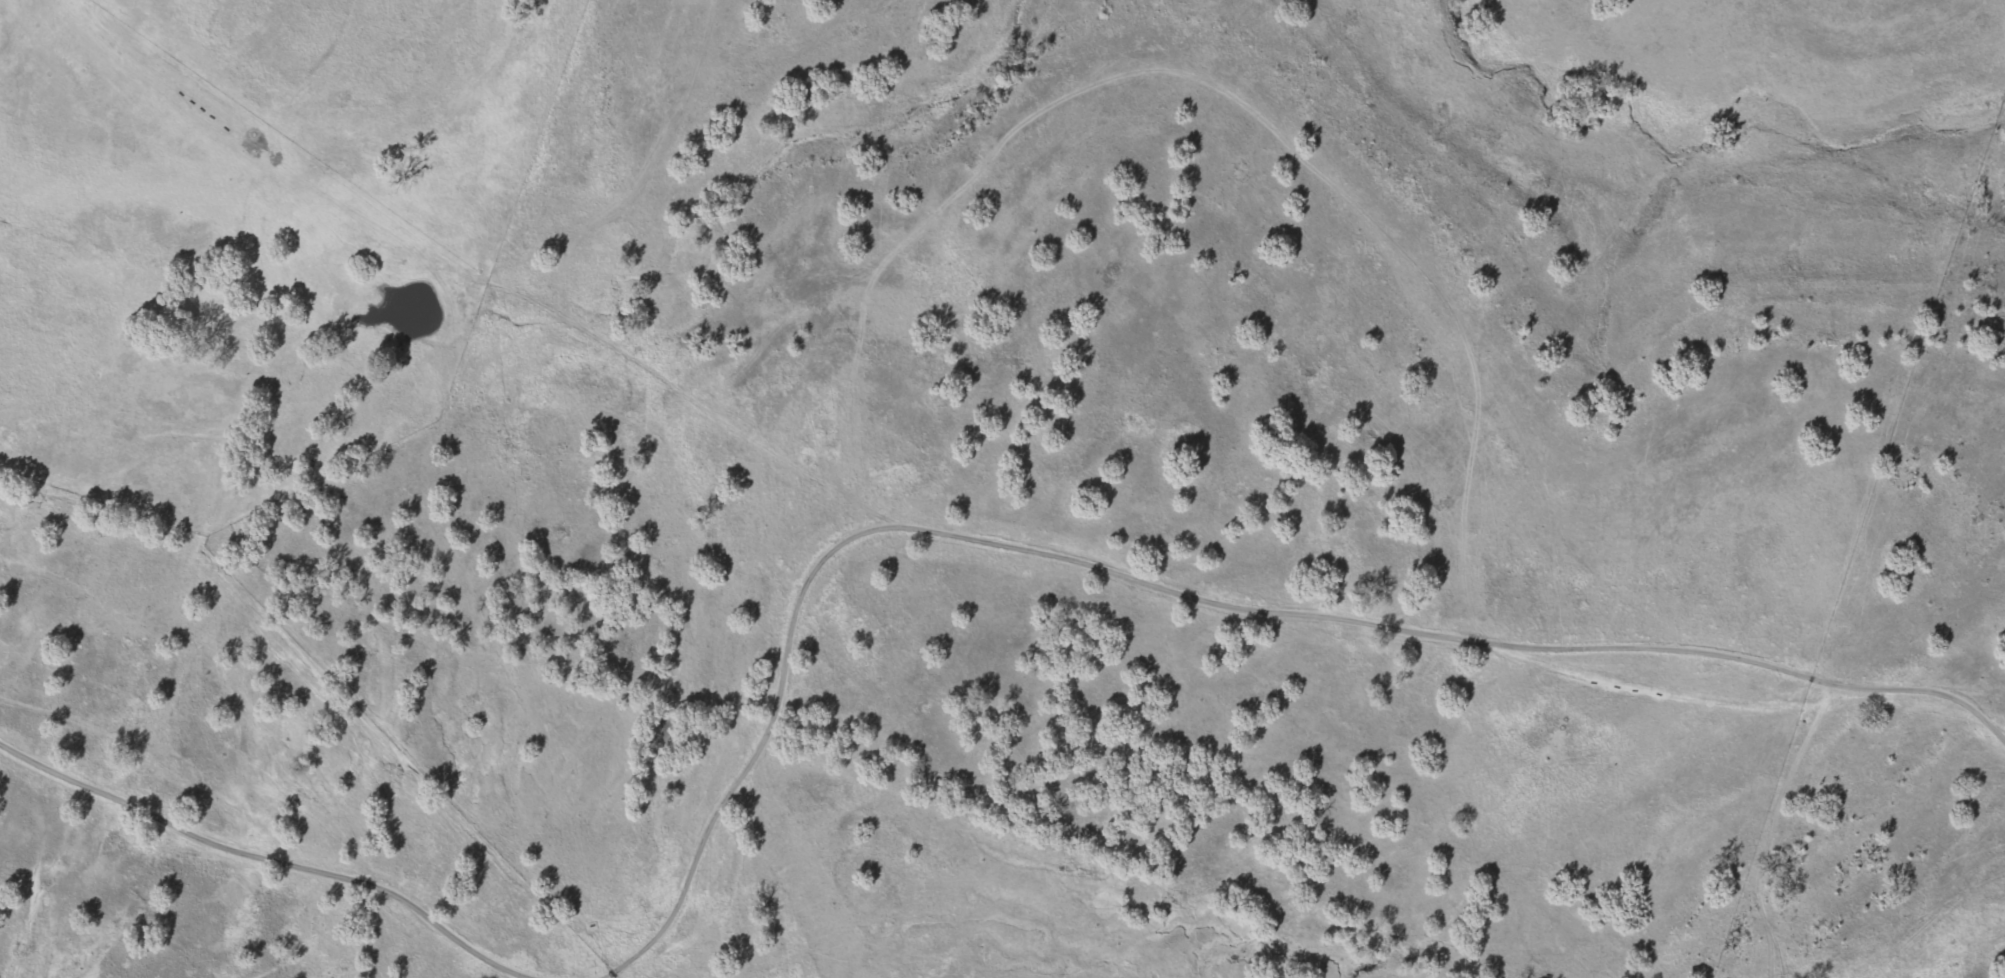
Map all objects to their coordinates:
road: (1171, 590)
road: (270, 858)

